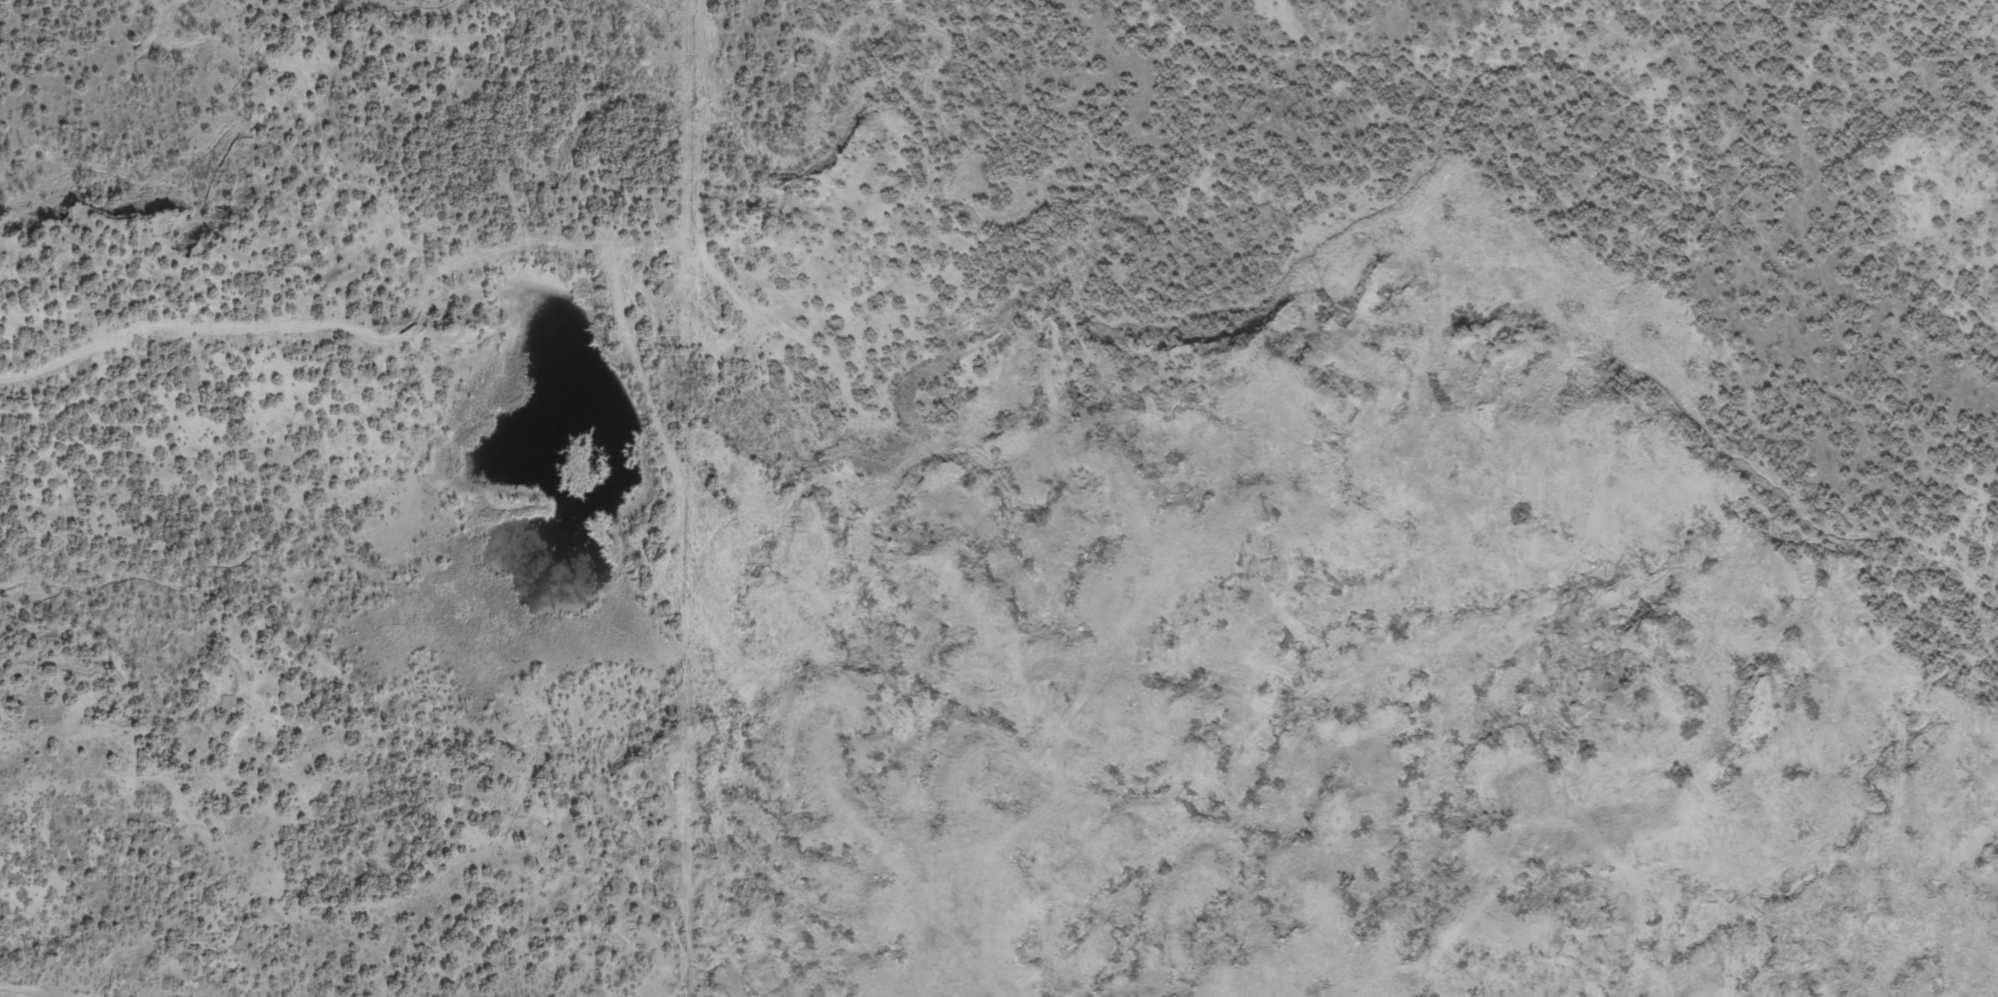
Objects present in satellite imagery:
road: (106, 984)

